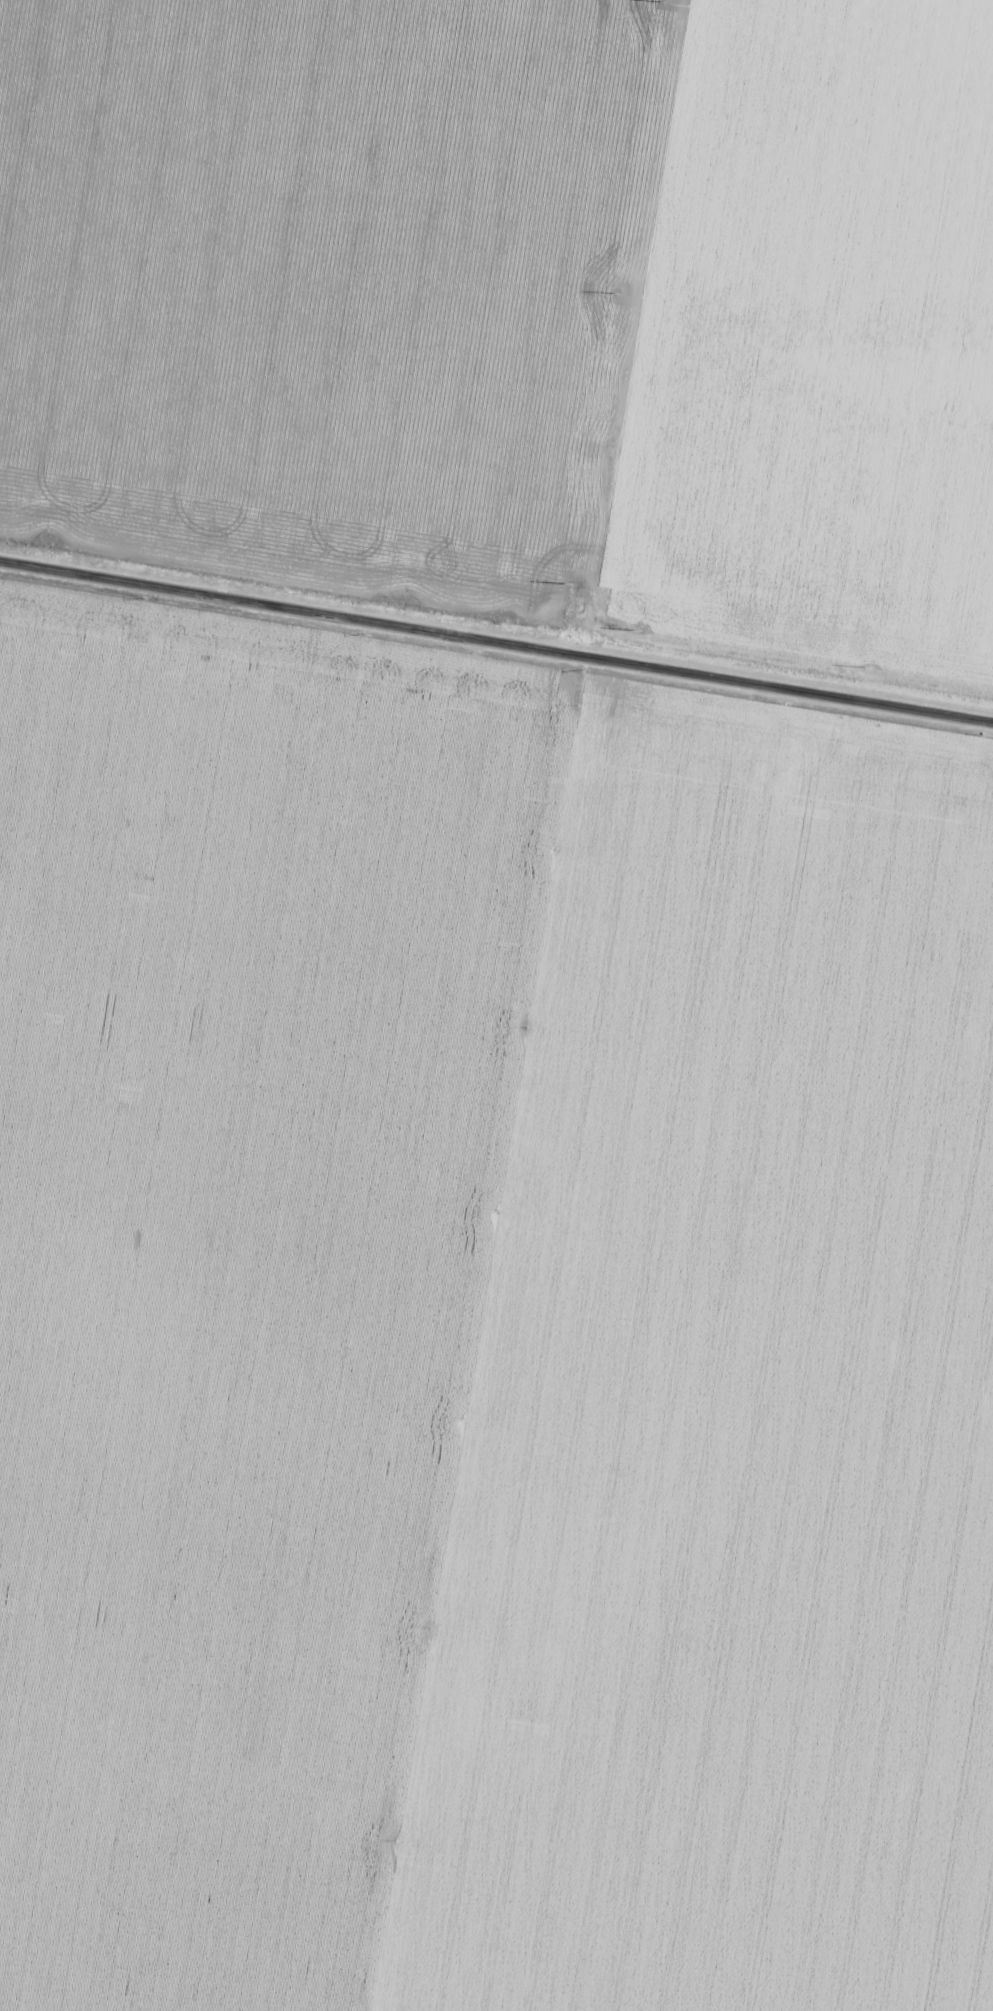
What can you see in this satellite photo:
power tower: (664, 3)
building: (781, 120)
power tower: (615, 294)
power tower: (569, 585)
power tower: (639, 630)
road: (496, 641)
power tower: (867, 668)
building: (951, 1367)
building: (695, 1417)

